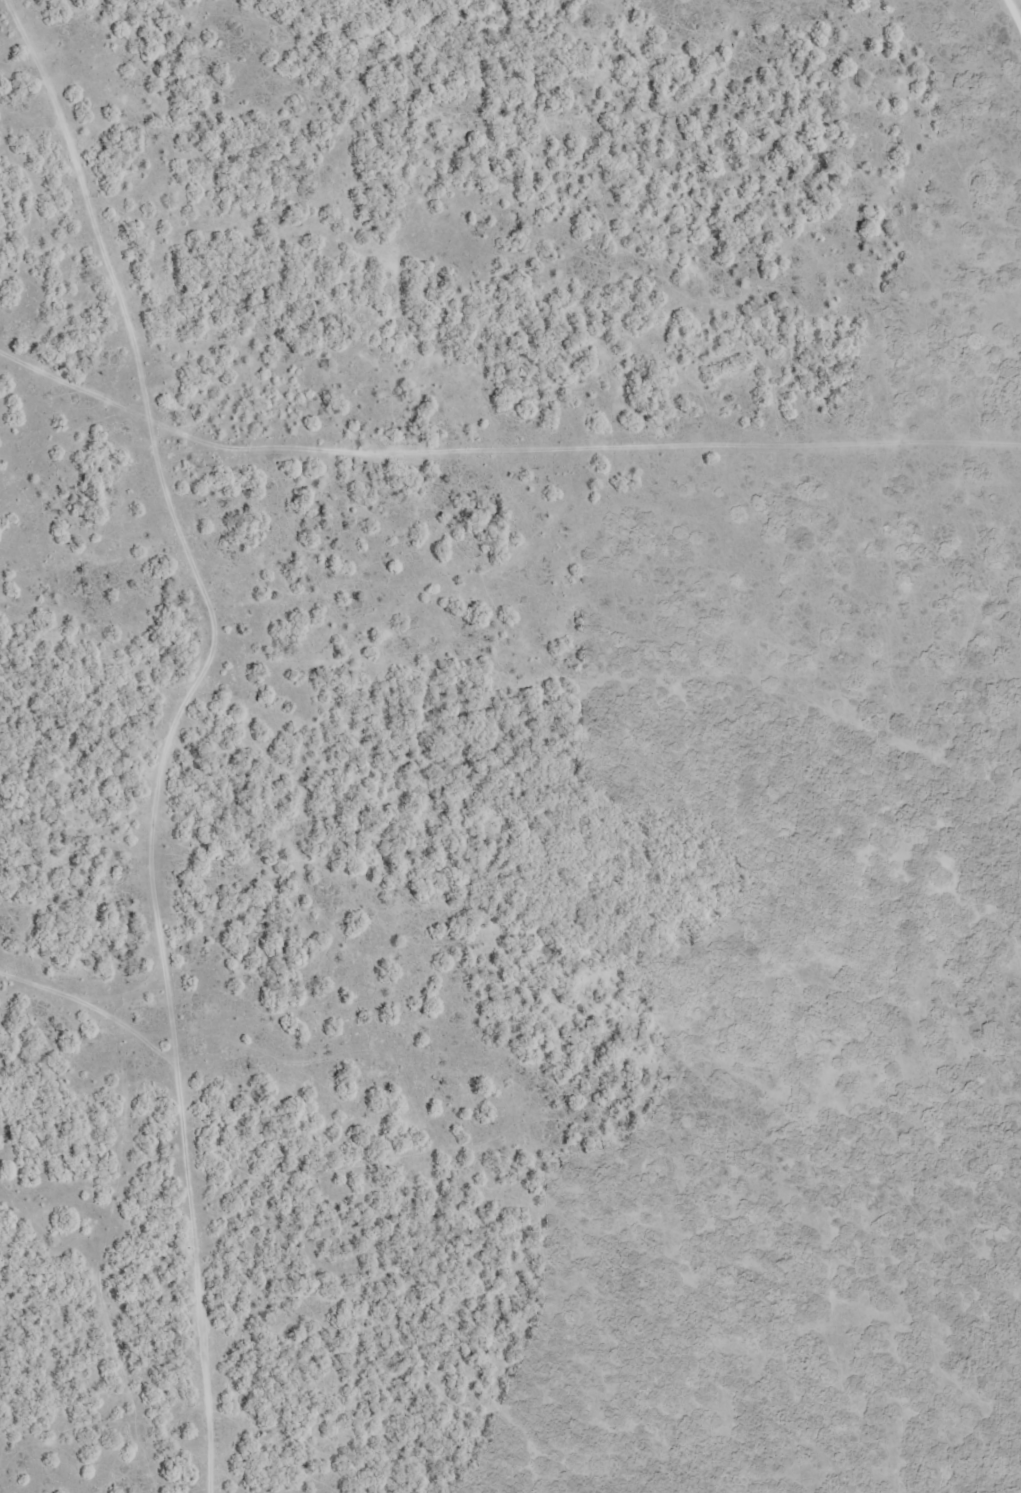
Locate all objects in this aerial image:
road: (1006, 28)

